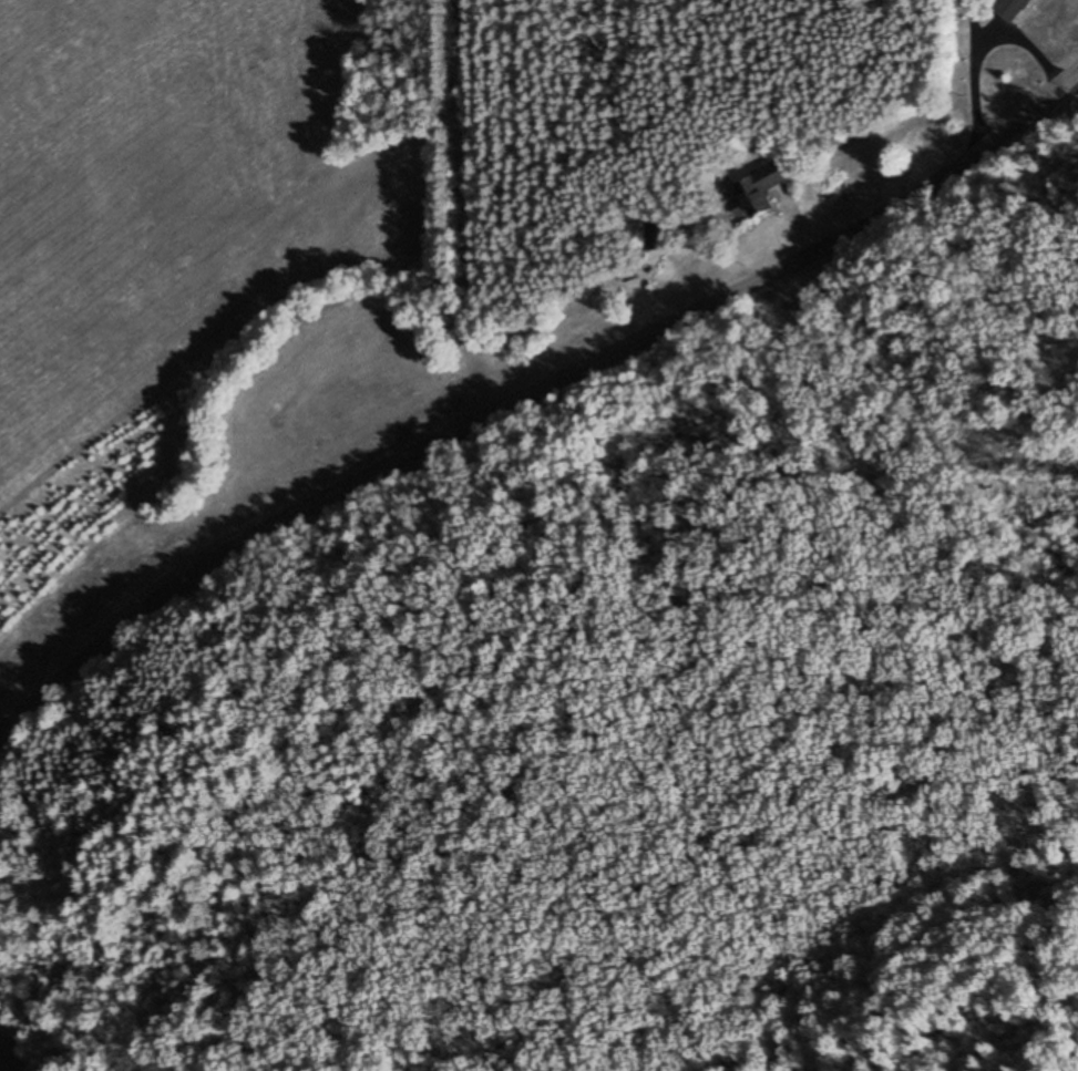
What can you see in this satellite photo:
building: (1012, 9)
building: (756, 192)
road: (468, 209)
building: (654, 234)
road: (528, 392)

